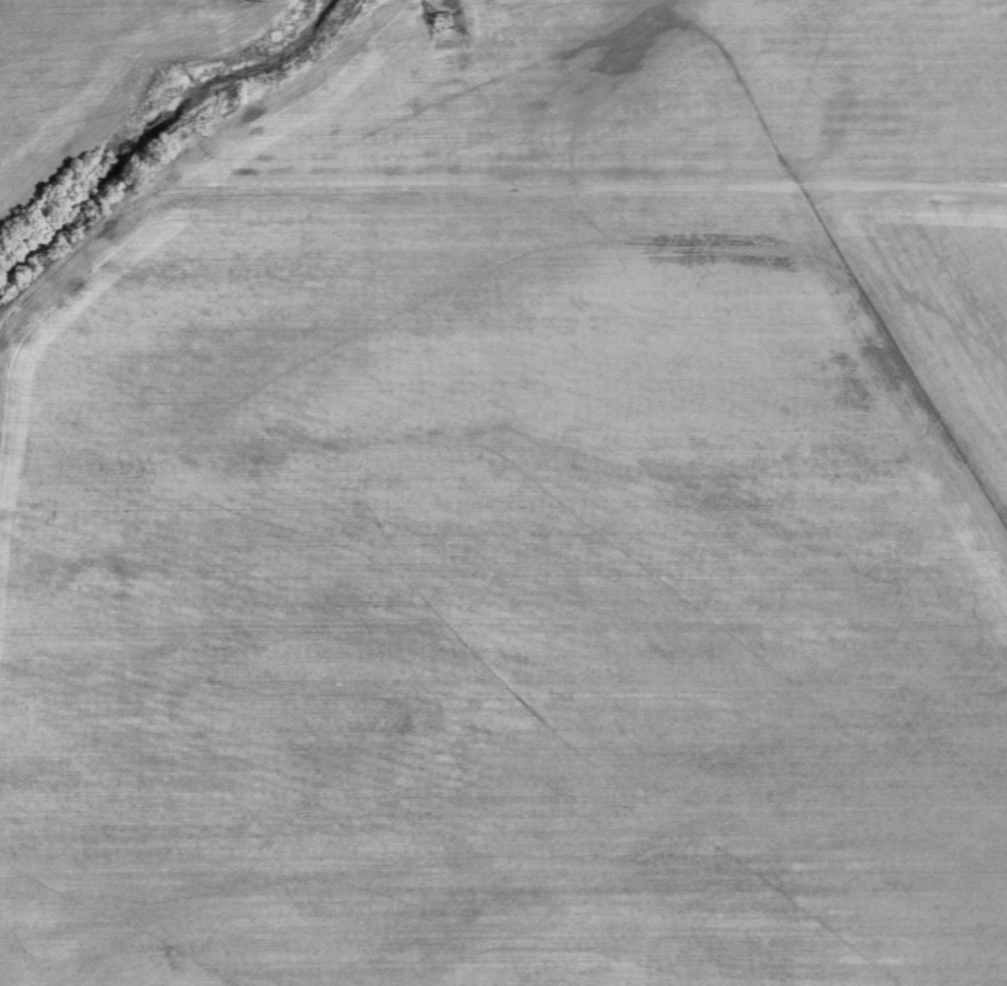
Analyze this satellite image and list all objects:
power tower: (442, 19)

